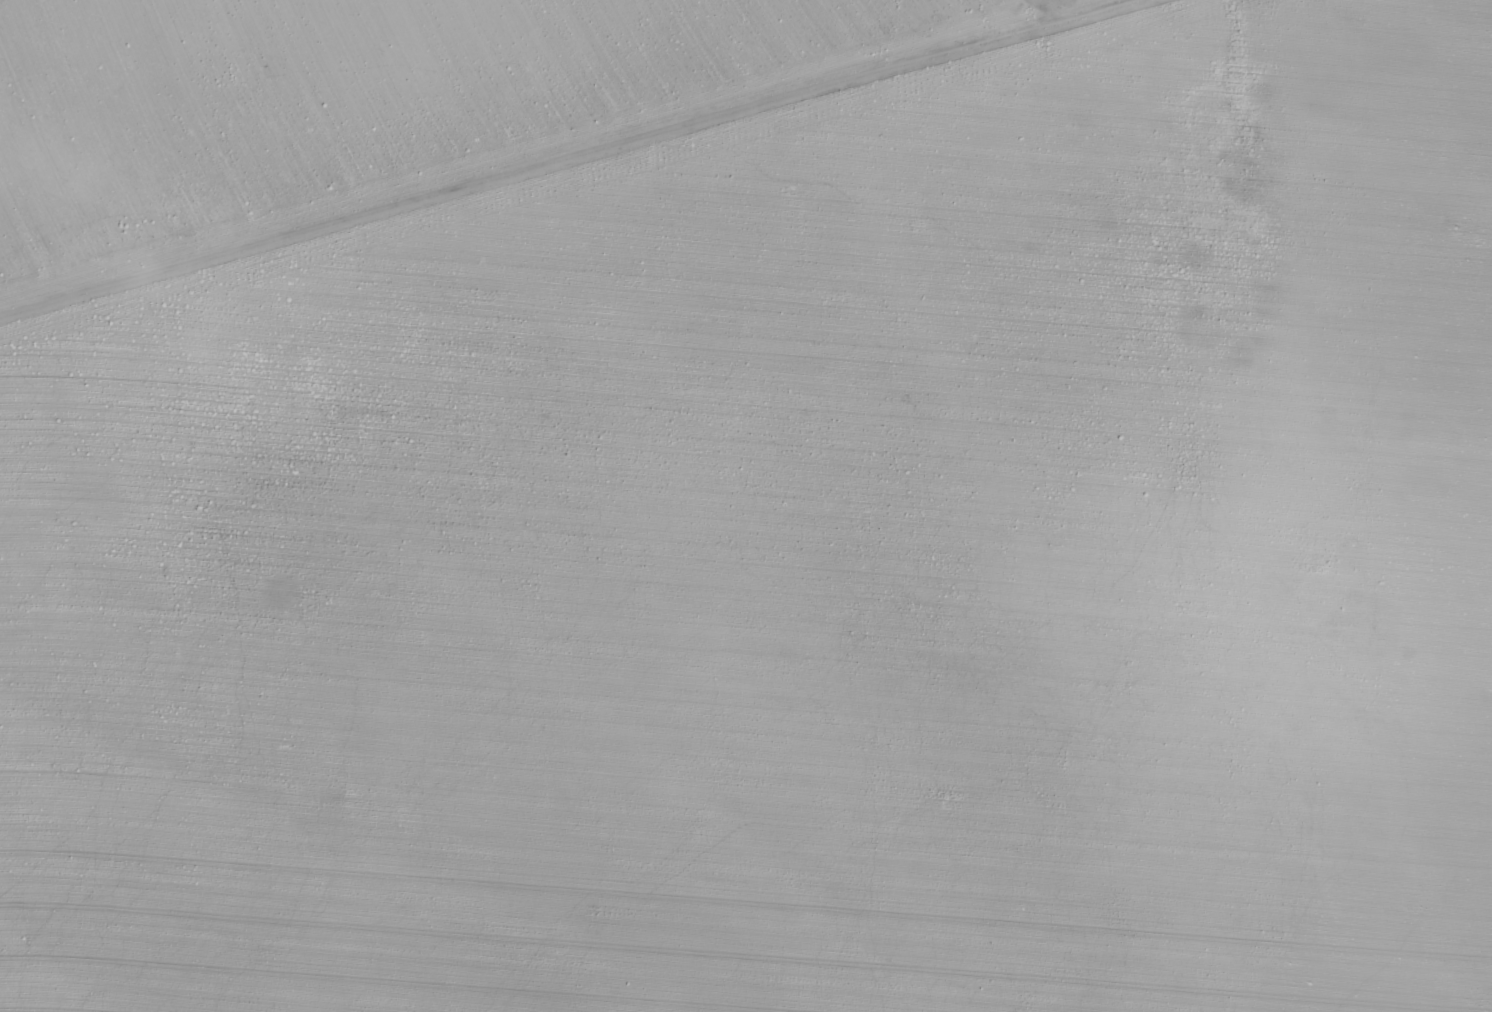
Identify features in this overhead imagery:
road: (642, 176)
road: (1389, 451)

